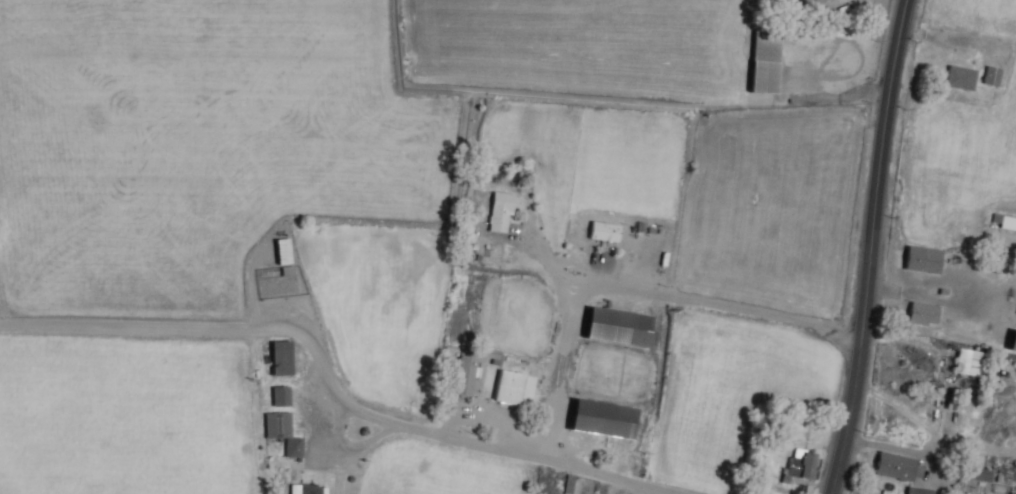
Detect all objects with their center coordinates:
building: (812, 1)
building: (992, 75)
building: (962, 78)
building: (502, 210)
building: (1004, 220)
building: (605, 232)
road: (871, 247)
building: (924, 260)
road: (731, 307)
building: (924, 314)
building: (617, 325)
building: (1013, 340)
building: (280, 357)
building: (970, 361)
building: (466, 377)
road: (330, 381)
building: (514, 390)
building: (280, 395)
building: (602, 418)
building: (282, 431)
building: (800, 466)
building: (899, 467)
building: (975, 469)
building: (307, 489)
building: (918, 490)

